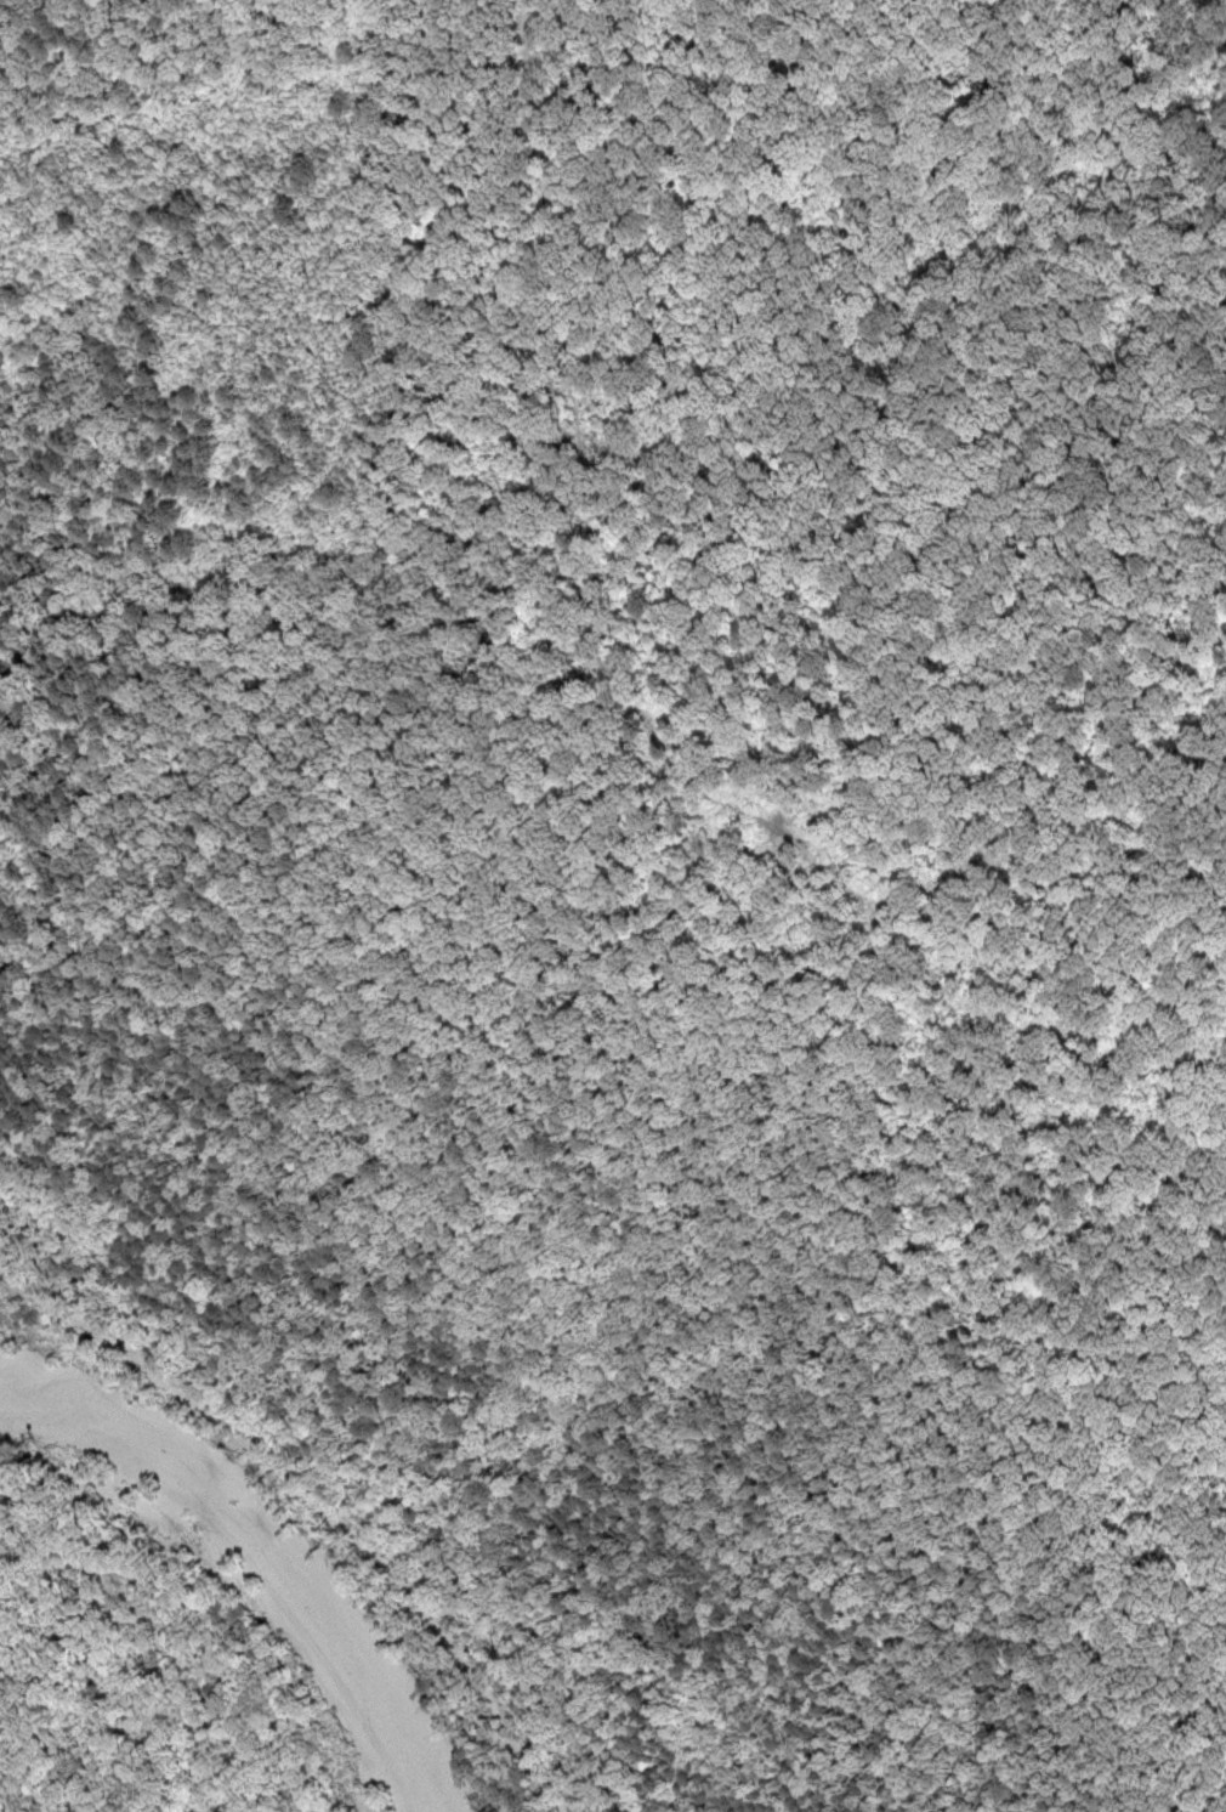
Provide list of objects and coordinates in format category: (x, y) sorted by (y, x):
road: (61, 1750)

